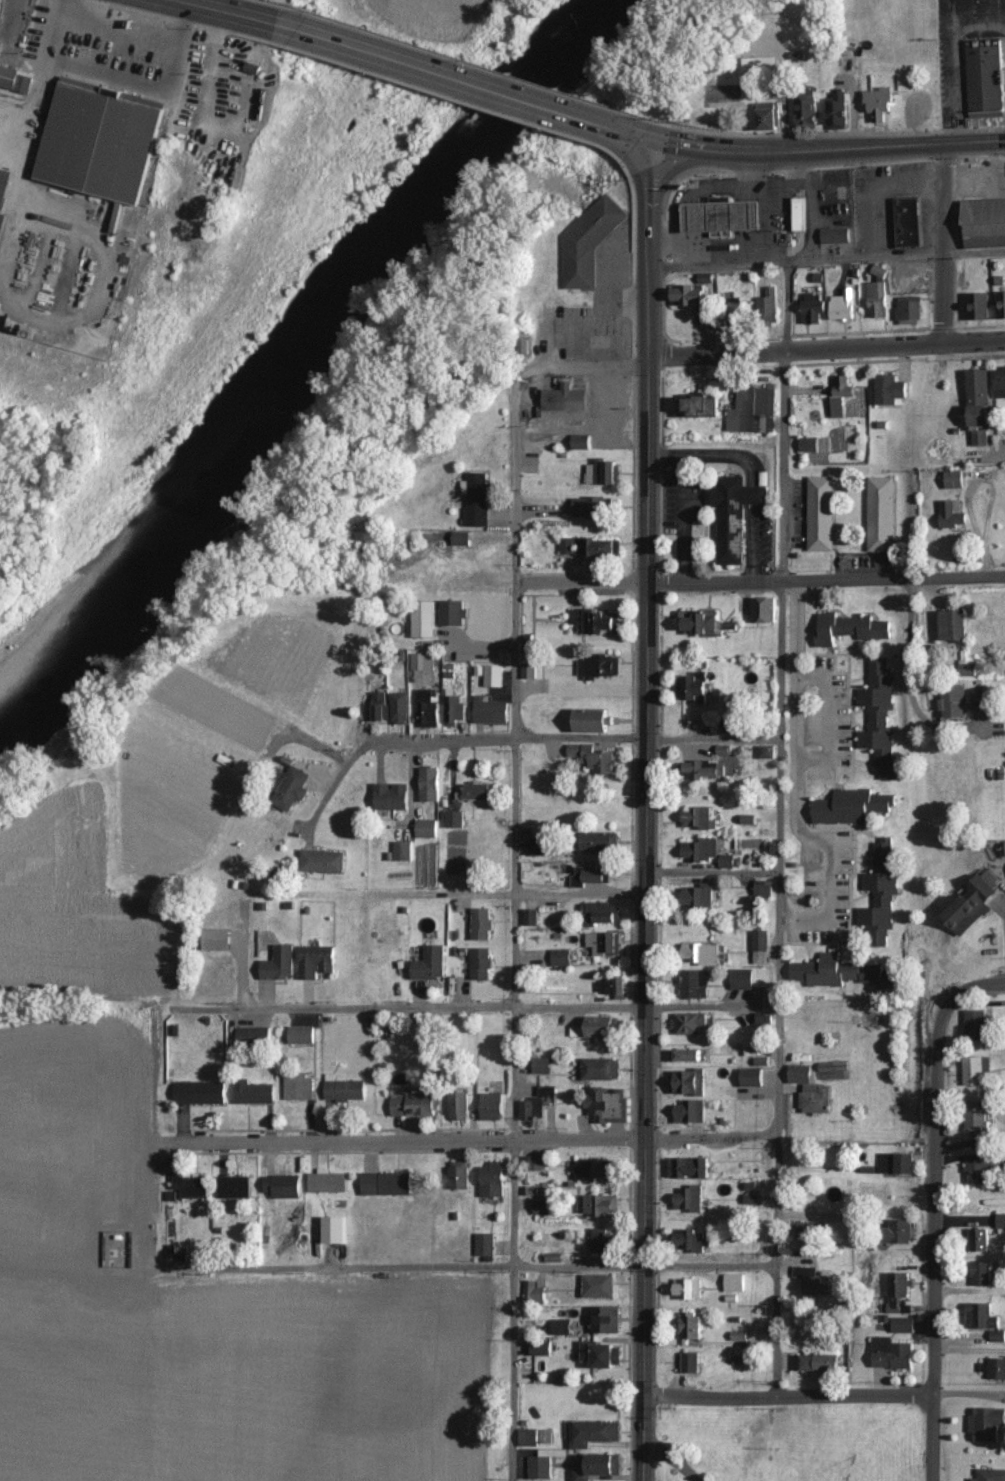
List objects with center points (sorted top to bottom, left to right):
road: (227, 11)
road: (137, 40)
building: (759, 64)
road: (448, 75)
building: (985, 77)
building: (12, 81)
road: (32, 102)
building: (879, 102)
building: (807, 110)
building: (839, 110)
building: (768, 115)
road: (638, 135)
building: (104, 141)
traffic signals: (657, 141)
road: (682, 146)
road: (857, 146)
building: (4, 195)
building: (801, 213)
building: (726, 214)
gas station: (726, 214)
building: (909, 222)
building: (985, 223)
building: (836, 235)
building: (590, 241)
road: (941, 243)
road: (826, 258)
building: (46, 292)
building: (878, 299)
building: (769, 302)
building: (1001, 304)
building: (844, 305)
building: (978, 305)
building: (814, 307)
building: (910, 308)
building: (737, 314)
building: (708, 315)
road: (70, 318)
river: (309, 338)
road: (759, 353)
building: (1001, 382)
building: (979, 386)
building: (890, 389)
building: (843, 395)
building: (565, 399)
building: (700, 405)
building: (754, 410)
building: (981, 424)
building: (581, 442)
building: (810, 444)
road: (996, 457)
building: (605, 470)
road: (514, 475)
building: (955, 479)
building: (592, 507)
building: (822, 513)
building: (953, 513)
building: (881, 514)
building: (735, 515)
building: (462, 539)
building: (590, 546)
road: (759, 574)
building: (765, 609)
building: (454, 612)
building: (425, 619)
building: (595, 620)
building: (702, 622)
building: (954, 624)
building: (849, 628)
road: (481, 643)
road: (907, 654)
building: (423, 661)
building: (599, 666)
building: (968, 669)
building: (529, 670)
building: (494, 675)
building: (694, 689)
building: (954, 701)
building: (381, 706)
building: (401, 707)
building: (454, 707)
building: (429, 709)
building: (879, 717)
building: (594, 719)
road: (518, 738)
building: (767, 752)
building: (594, 757)
building: (706, 769)
road: (796, 778)
building: (430, 784)
building: (295, 788)
building: (477, 791)
building: (392, 797)
building: (851, 806)
road: (650, 810)
building: (699, 818)
building: (454, 819)
building: (427, 828)
building: (600, 842)
building: (540, 847)
building: (702, 849)
building: (403, 850)
building: (323, 861)
road: (715, 871)
road: (781, 873)
building: (591, 876)
building: (762, 892)
building: (881, 892)
road: (505, 893)
building: (697, 897)
building: (973, 904)
building: (604, 913)
building: (531, 917)
building: (482, 923)
building: (218, 940)
building: (605, 943)
building: (758, 950)
building: (701, 956)
building: (561, 957)
building: (317, 961)
building: (482, 963)
building: (280, 964)
building: (430, 964)
building: (834, 971)
building: (741, 981)
building: (613, 985)
building: (692, 985)
road: (967, 987)
road: (714, 1006)
road: (411, 1007)
building: (765, 1018)
building: (690, 1023)
building: (977, 1024)
building: (597, 1027)
road: (511, 1032)
building: (302, 1035)
building: (256, 1037)
building: (687, 1055)
building: (542, 1065)
building: (602, 1069)
building: (832, 1070)
building: (977, 1070)
building: (802, 1074)
building: (753, 1077)
building: (688, 1082)
building: (300, 1086)
building: (345, 1089)
building: (201, 1093)
building: (255, 1093)
building: (817, 1098)
building: (538, 1103)
building: (607, 1104)
building: (414, 1105)
building: (460, 1106)
building: (493, 1106)
building: (691, 1111)
building: (981, 1121)
road: (473, 1137)
building: (535, 1163)
building: (898, 1163)
building: (690, 1168)
building: (595, 1170)
building: (978, 1172)
building: (460, 1175)
building: (494, 1180)
building: (327, 1181)
building: (387, 1183)
building: (192, 1186)
building: (284, 1186)
building: (234, 1187)
building: (690, 1199)
building: (597, 1205)
building: (542, 1207)
building: (1001, 1223)
building: (336, 1230)
building: (808, 1230)
building: (902, 1231)
building: (980, 1240)
building: (604, 1241)
building: (692, 1241)
building: (486, 1244)
road: (934, 1245)
road: (473, 1264)
building: (982, 1273)
building: (813, 1281)
building: (736, 1283)
building: (599, 1286)
building: (689, 1289)
building: (534, 1292)
building: (901, 1293)
building: (984, 1318)
building: (606, 1320)
building: (904, 1324)
building: (692, 1326)
building: (563, 1327)
building: (541, 1348)
building: (892, 1353)
building: (600, 1354)
building: (692, 1362)
building: (819, 1362)
building: (994, 1369)
road: (789, 1394)
building: (987, 1423)
building: (595, 1433)
building: (546, 1436)
building: (529, 1437)
road: (674, 1459)
building: (544, 1463)
building: (599, 1467)
building: (990, 1475)

